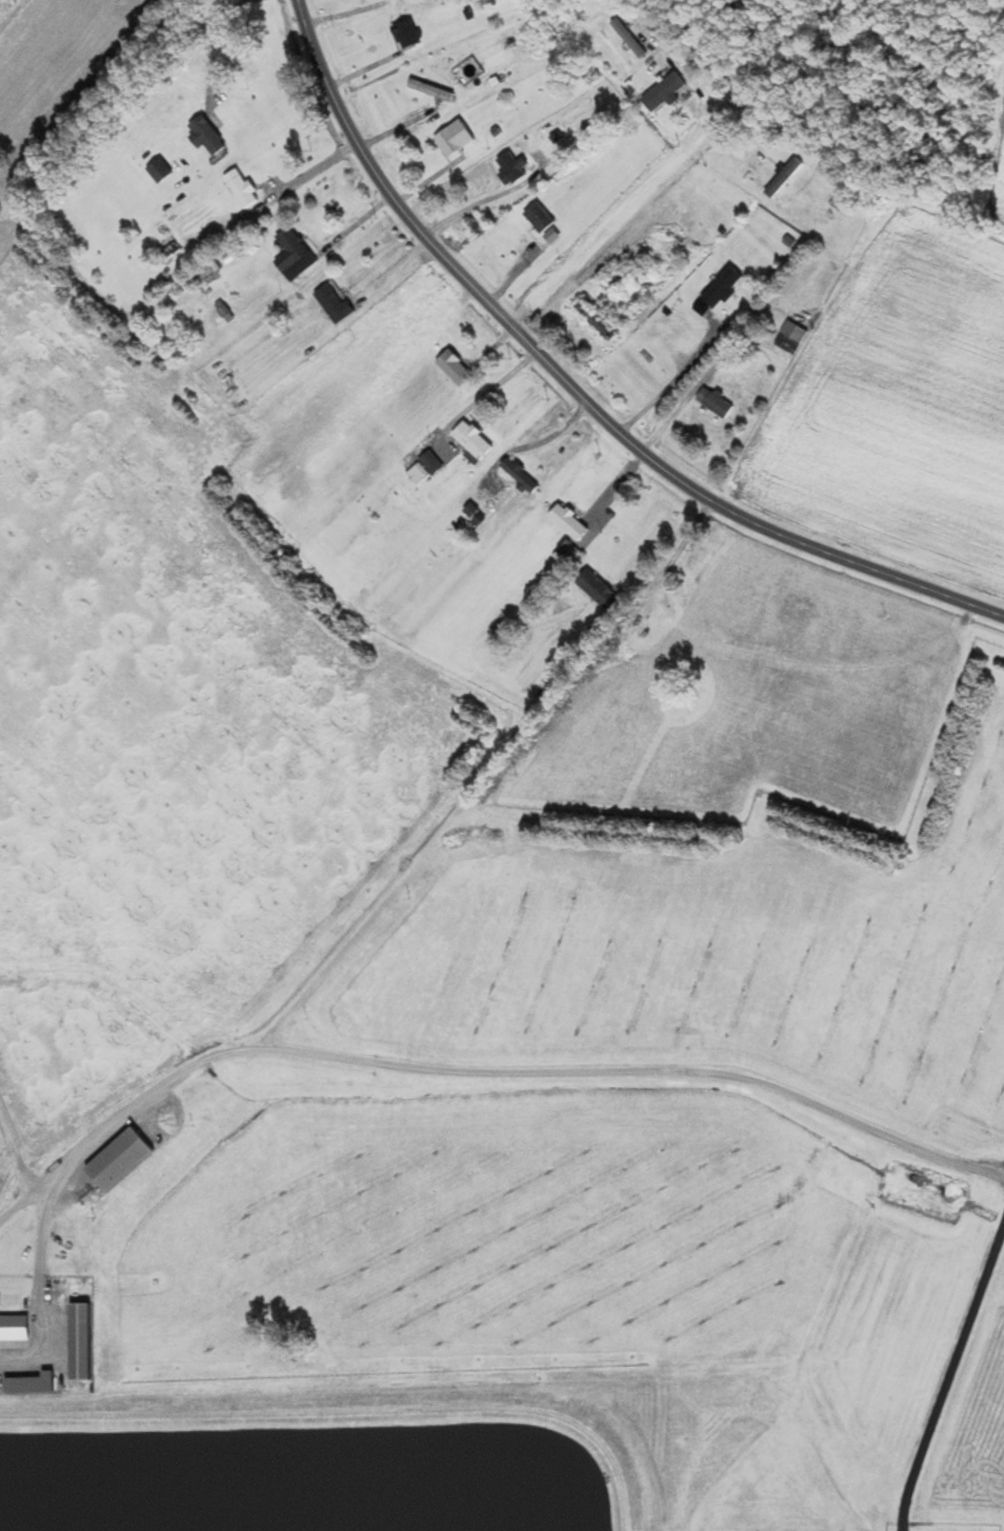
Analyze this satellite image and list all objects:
building: (407, 33)
building: (630, 38)
building: (645, 77)
building: (432, 89)
road: (399, 126)
building: (208, 135)
building: (455, 137)
building: (514, 167)
building: (161, 169)
road: (312, 171)
building: (783, 179)
building: (243, 187)
road: (483, 200)
building: (540, 217)
road: (608, 226)
building: (294, 253)
building: (723, 287)
building: (334, 303)
building: (596, 320)
building: (791, 337)
building: (456, 368)
road: (672, 382)
road: (577, 391)
road: (481, 396)
building: (715, 403)
building: (474, 441)
road: (536, 443)
building: (432, 463)
building: (417, 473)
building: (521, 475)
building: (472, 512)
building: (570, 523)
building: (599, 590)
building: (121, 1159)
building: (15, 1328)
building: (82, 1342)
building: (32, 1385)

